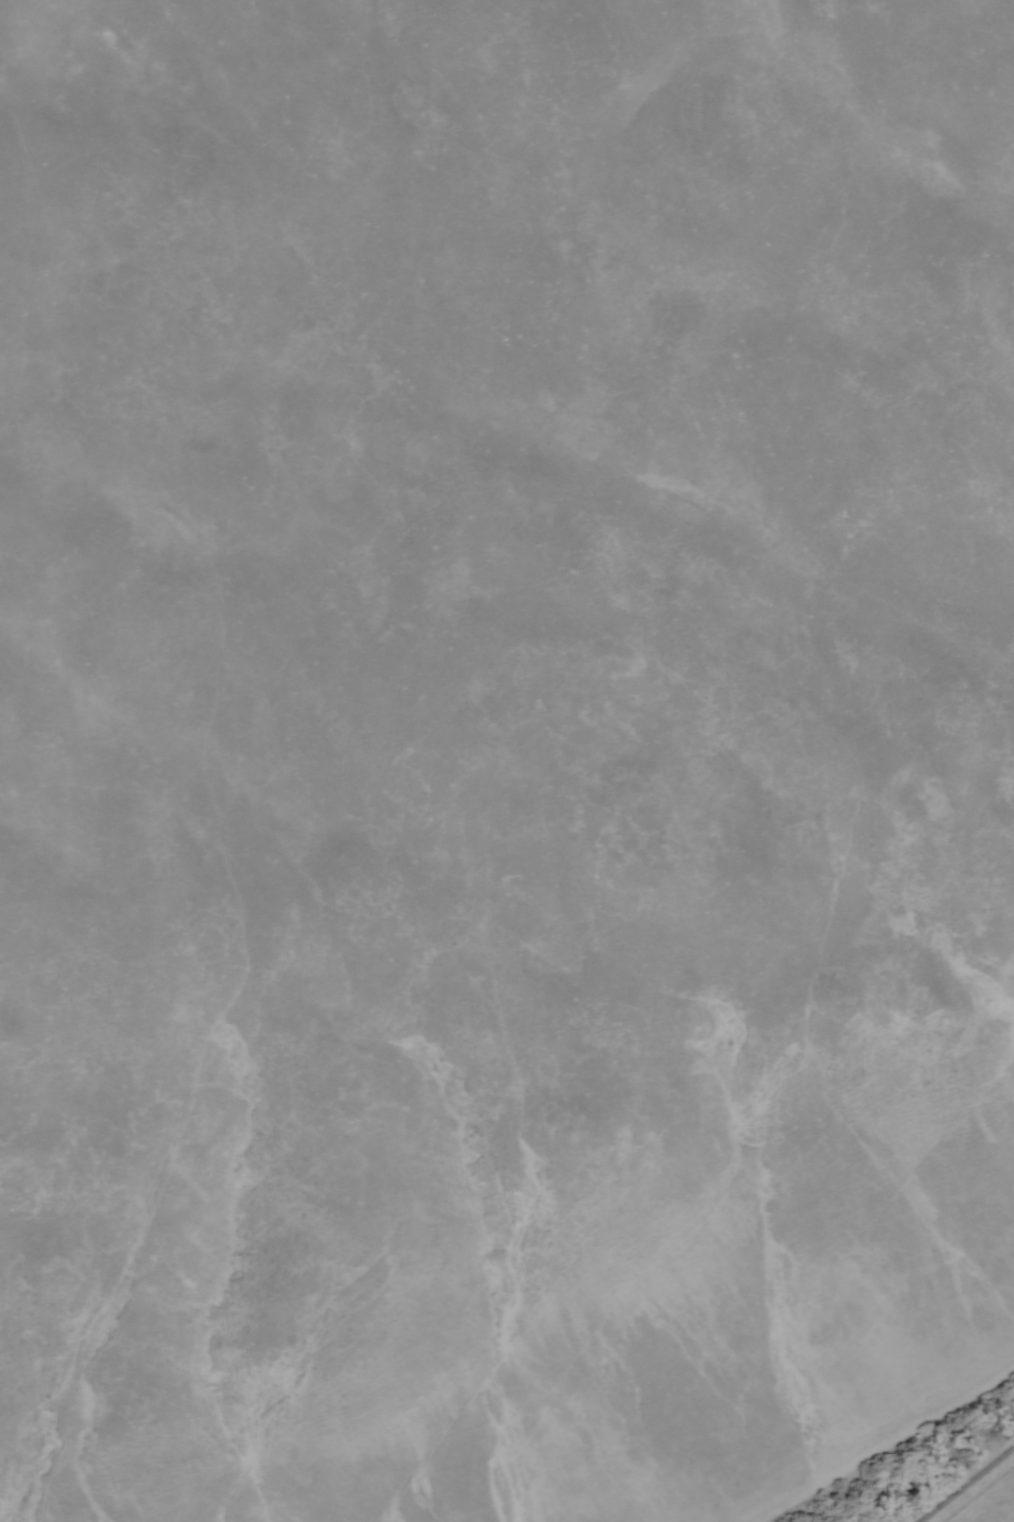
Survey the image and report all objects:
road: (965, 1483)

